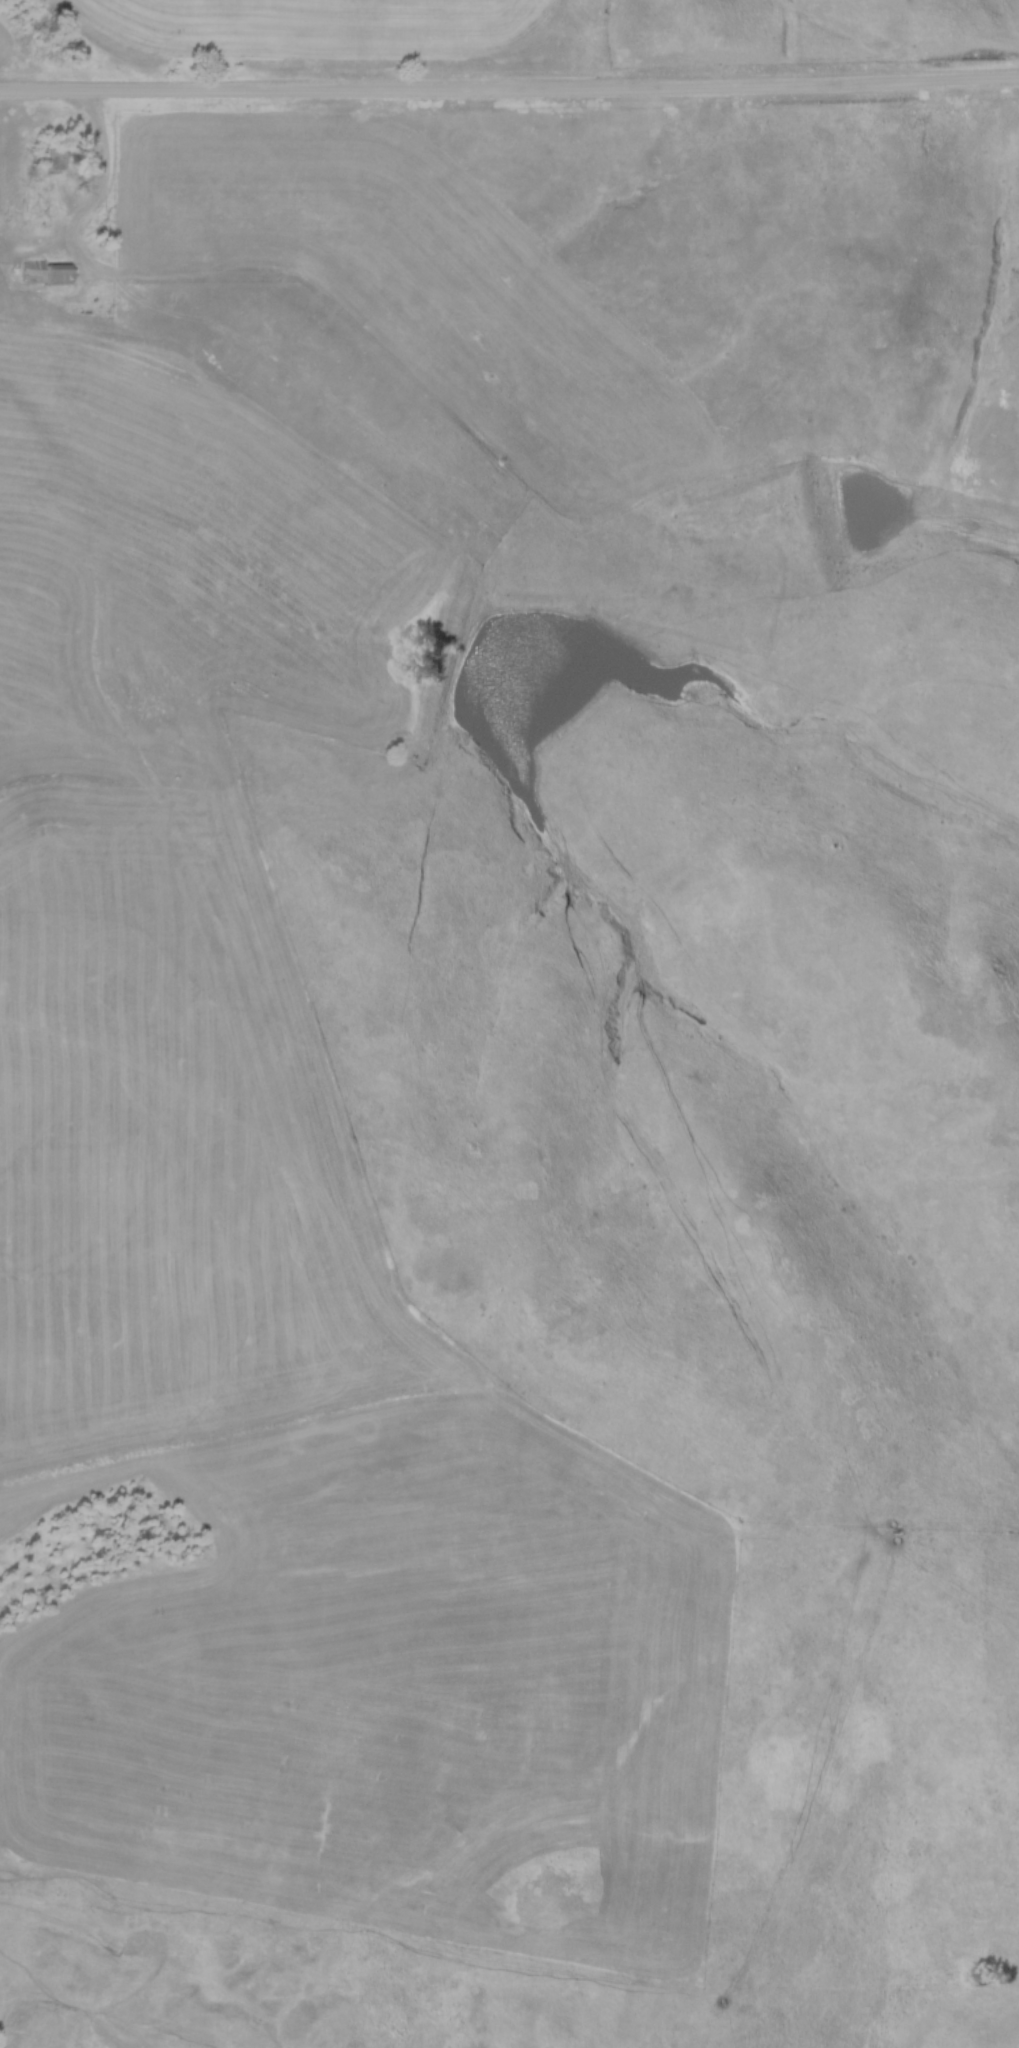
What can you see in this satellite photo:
road: (509, 92)
building: (53, 164)
road: (106, 191)
building: (54, 275)

